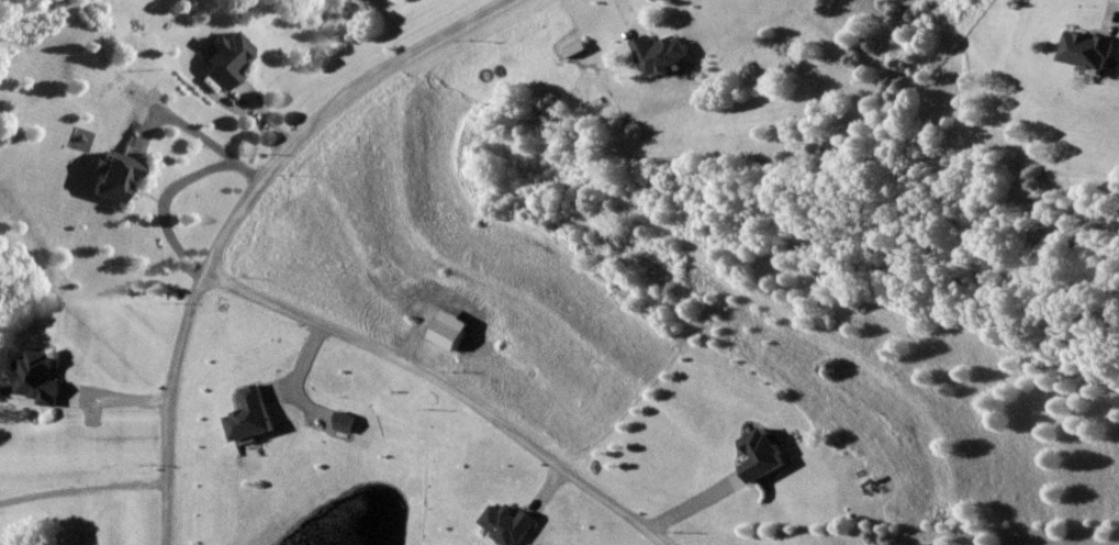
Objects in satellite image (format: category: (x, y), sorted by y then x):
building: (1094, 49)
building: (664, 54)
building: (227, 60)
building: (116, 177)
road: (166, 185)
road: (239, 211)
building: (56, 378)
road: (449, 387)
building: (766, 456)
road: (83, 489)
building: (512, 525)

